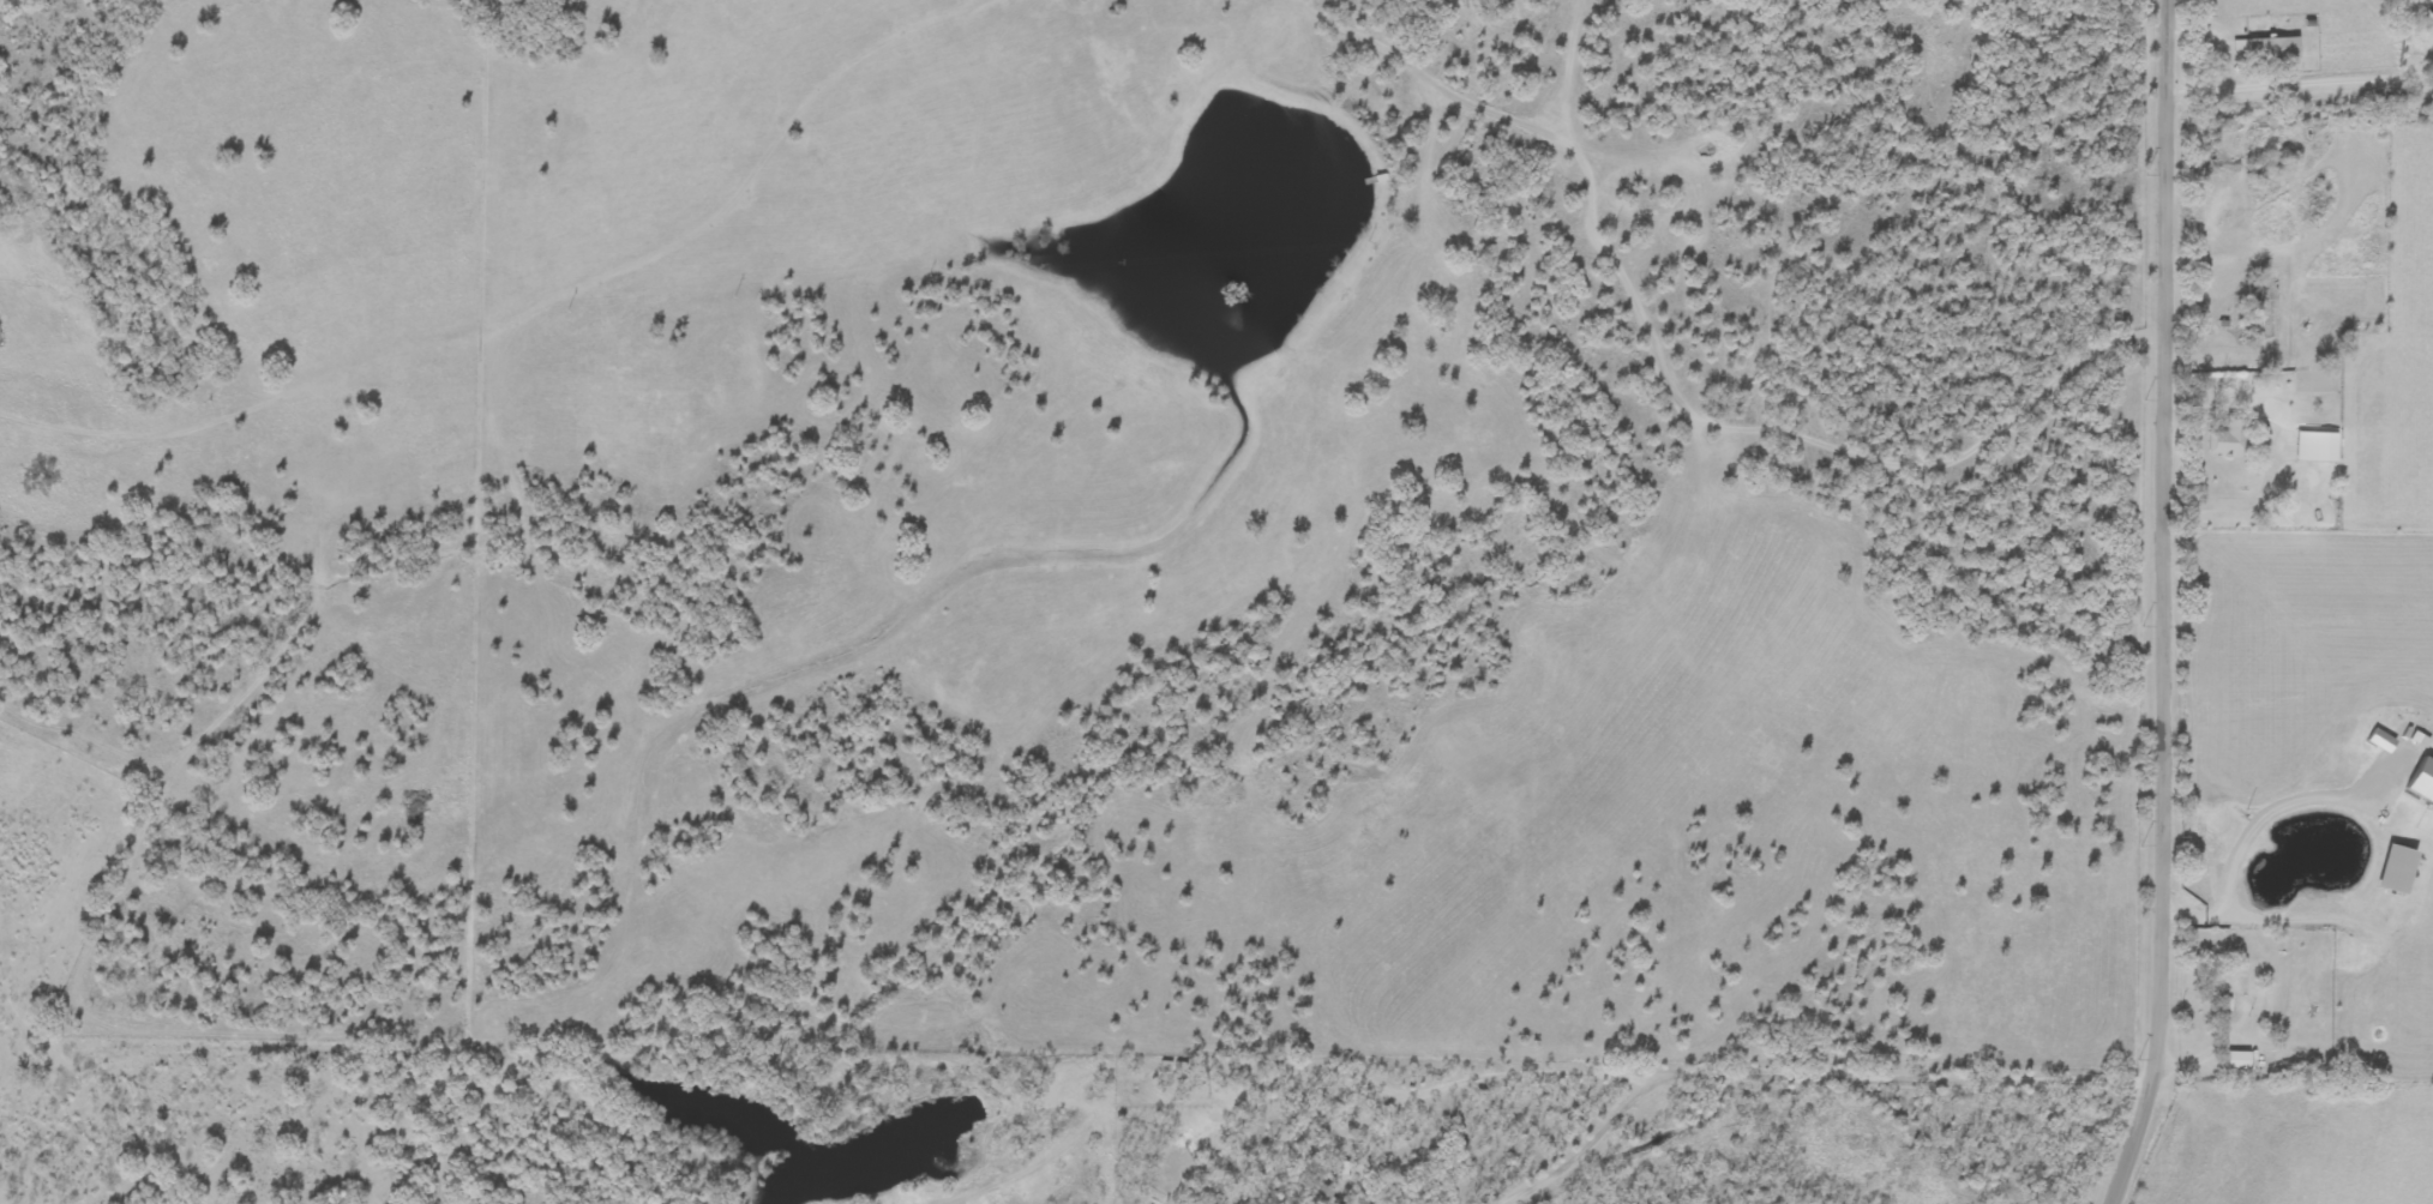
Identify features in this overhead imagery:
building: (2266, 49)
road: (2289, 85)
building: (1730, 246)
building: (2258, 309)
building: (2228, 440)
building: (2317, 449)
road: (2164, 606)
road: (2305, 801)
road: (2222, 916)
building: (2234, 986)
building: (2239, 1061)
road: (1801, 1071)
building: (1321, 1194)

